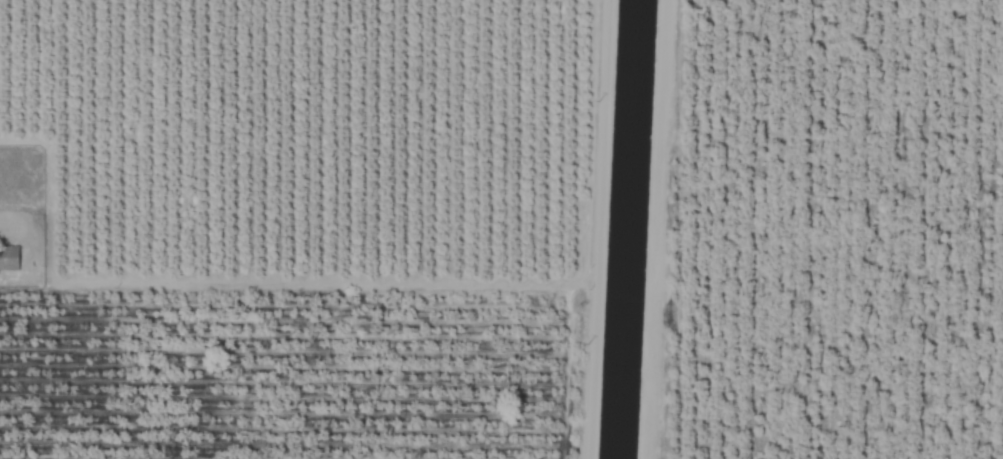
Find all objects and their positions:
building: (9, 258)
road: (294, 274)

